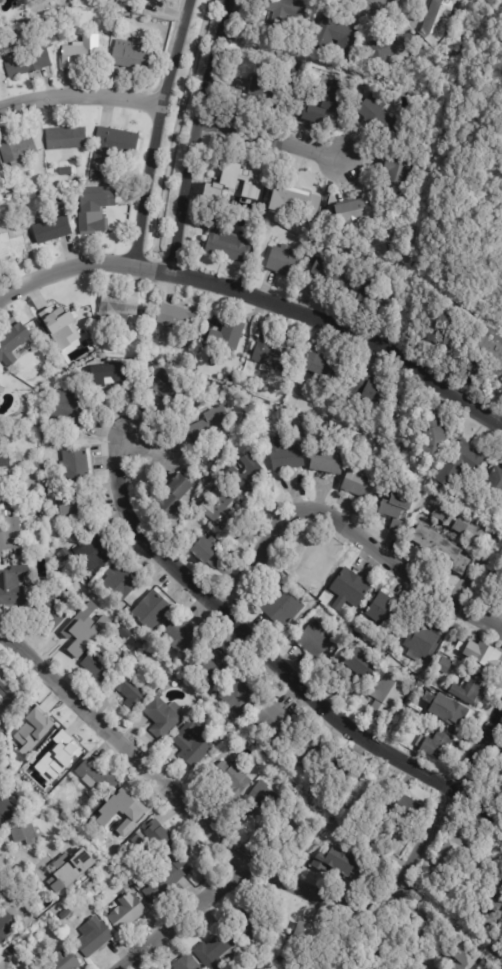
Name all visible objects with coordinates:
building: (1, 2)
building: (284, 8)
building: (120, 15)
building: (437, 21)
building: (270, 30)
building: (333, 33)
building: (388, 51)
building: (80, 53)
building: (132, 54)
building: (26, 61)
building: (289, 68)
building: (265, 88)
building: (362, 88)
road: (78, 97)
building: (335, 99)
building: (381, 121)
building: (501, 127)
road: (152, 131)
building: (500, 133)
road: (196, 135)
building: (66, 138)
road: (273, 138)
building: (118, 141)
building: (17, 150)
building: (65, 171)
building: (95, 175)
building: (240, 176)
building: (396, 183)
building: (215, 201)
building: (232, 205)
building: (295, 205)
building: (354, 212)
building: (96, 218)
building: (52, 230)
building: (323, 239)
building: (224, 242)
building: (8, 249)
building: (284, 262)
road: (81, 268)
building: (335, 275)
building: (376, 300)
building: (115, 308)
building: (143, 313)
building: (181, 321)
building: (65, 324)
road: (345, 328)
building: (445, 330)
building: (227, 336)
building: (12, 344)
building: (491, 346)
building: (273, 354)
building: (325, 367)
building: (476, 368)
building: (109, 377)
building: (168, 389)
building: (264, 389)
building: (371, 392)
building: (222, 399)
building: (70, 412)
building: (209, 426)
building: (242, 427)
building: (435, 441)
building: (286, 453)
building: (328, 457)
building: (4, 459)
building: (460, 464)
building: (75, 465)
building: (248, 476)
building: (360, 482)
building: (494, 484)
building: (3, 490)
building: (175, 498)
building: (72, 502)
building: (221, 508)
building: (396, 510)
building: (440, 514)
building: (460, 527)
building: (172, 530)
road: (349, 530)
building: (9, 533)
building: (478, 541)
building: (442, 549)
building: (207, 551)
building: (64, 552)
building: (95, 552)
building: (315, 568)
building: (121, 580)
building: (12, 584)
building: (349, 590)
building: (85, 594)
building: (282, 607)
building: (50, 609)
building: (152, 610)
building: (385, 612)
building: (124, 631)
building: (181, 633)
building: (76, 634)
building: (351, 640)
building: (316, 641)
building: (423, 641)
building: (146, 651)
building: (128, 654)
building: (484, 655)
road: (276, 659)
building: (100, 664)
building: (445, 666)
building: (208, 667)
building: (357, 670)
building: (180, 679)
building: (131, 690)
building: (467, 692)
building: (239, 694)
building: (388, 695)
building: (9, 696)
building: (416, 709)
building: (454, 714)
building: (162, 716)
building: (274, 720)
building: (34, 726)
building: (192, 744)
building: (437, 746)
building: (63, 751)
building: (306, 751)
road: (129, 752)
building: (352, 758)
building: (500, 774)
building: (96, 778)
building: (233, 779)
building: (332, 780)
building: (261, 799)
building: (407, 806)
building: (7, 811)
building: (121, 816)
building: (297, 830)
building: (272, 832)
building: (27, 837)
building: (376, 837)
building: (157, 840)
building: (453, 849)
building: (175, 854)
road: (26, 857)
building: (339, 861)
building: (69, 869)
building: (483, 873)
building: (162, 881)
road: (350, 907)
building: (494, 910)
building: (126, 912)
building: (65, 913)
building: (104, 914)
building: (6, 925)
building: (253, 928)
building: (93, 936)
building: (314, 937)
building: (496, 948)
building: (9, 950)
building: (218, 950)
building: (465, 957)
building: (64, 961)
building: (187, 963)
building: (370, 967)

